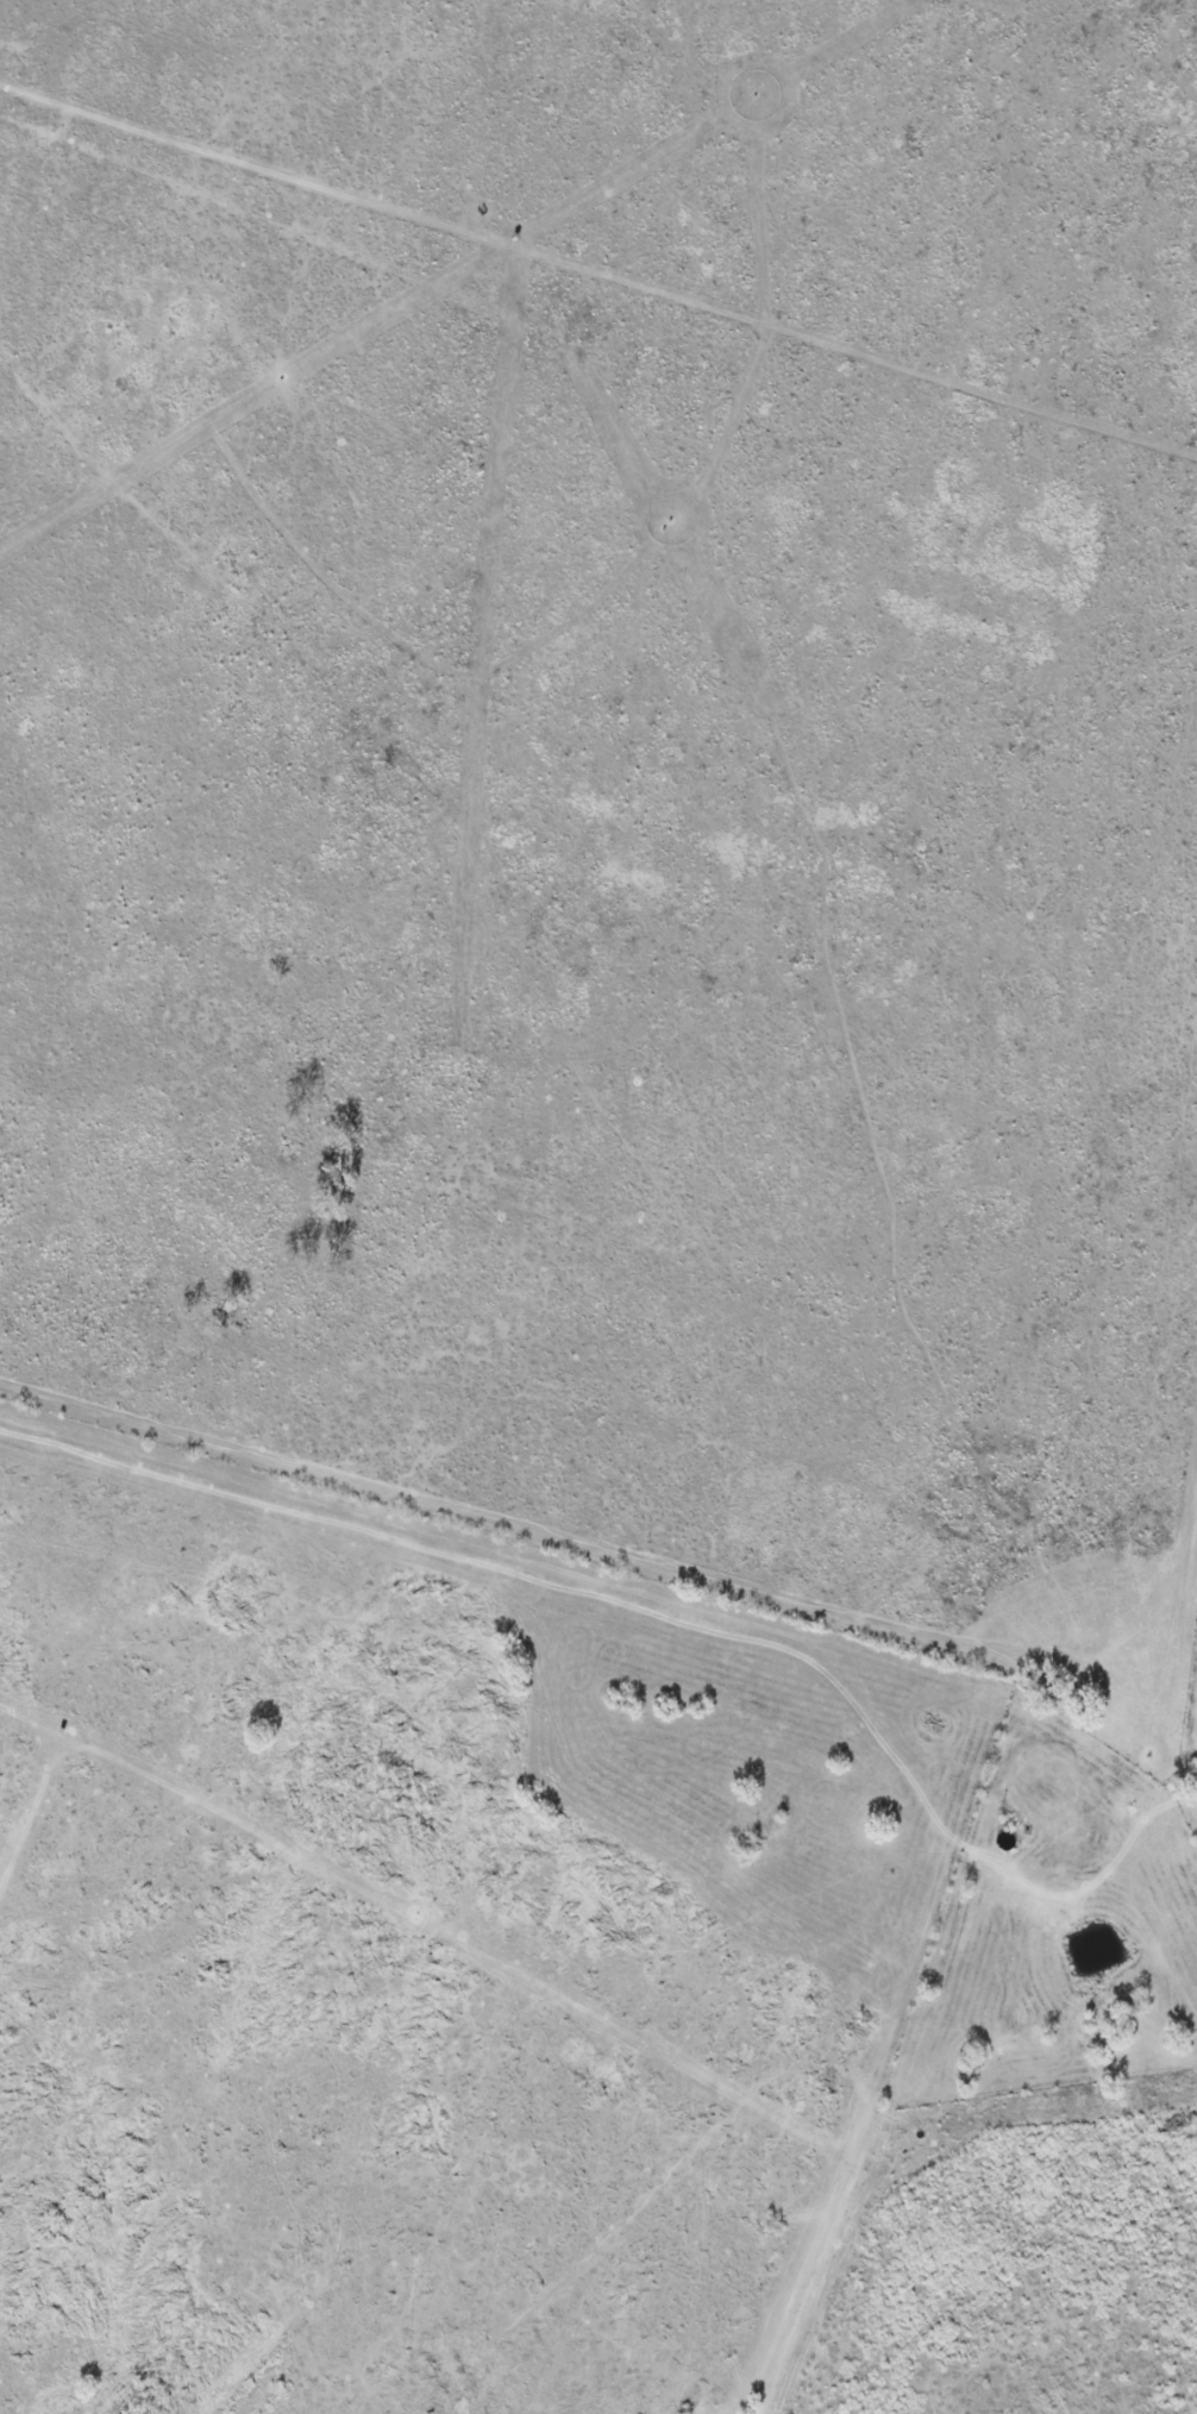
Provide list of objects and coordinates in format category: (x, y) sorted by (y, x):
road: (651, 1613)
road: (1195, 1837)
road: (1195, 1874)

